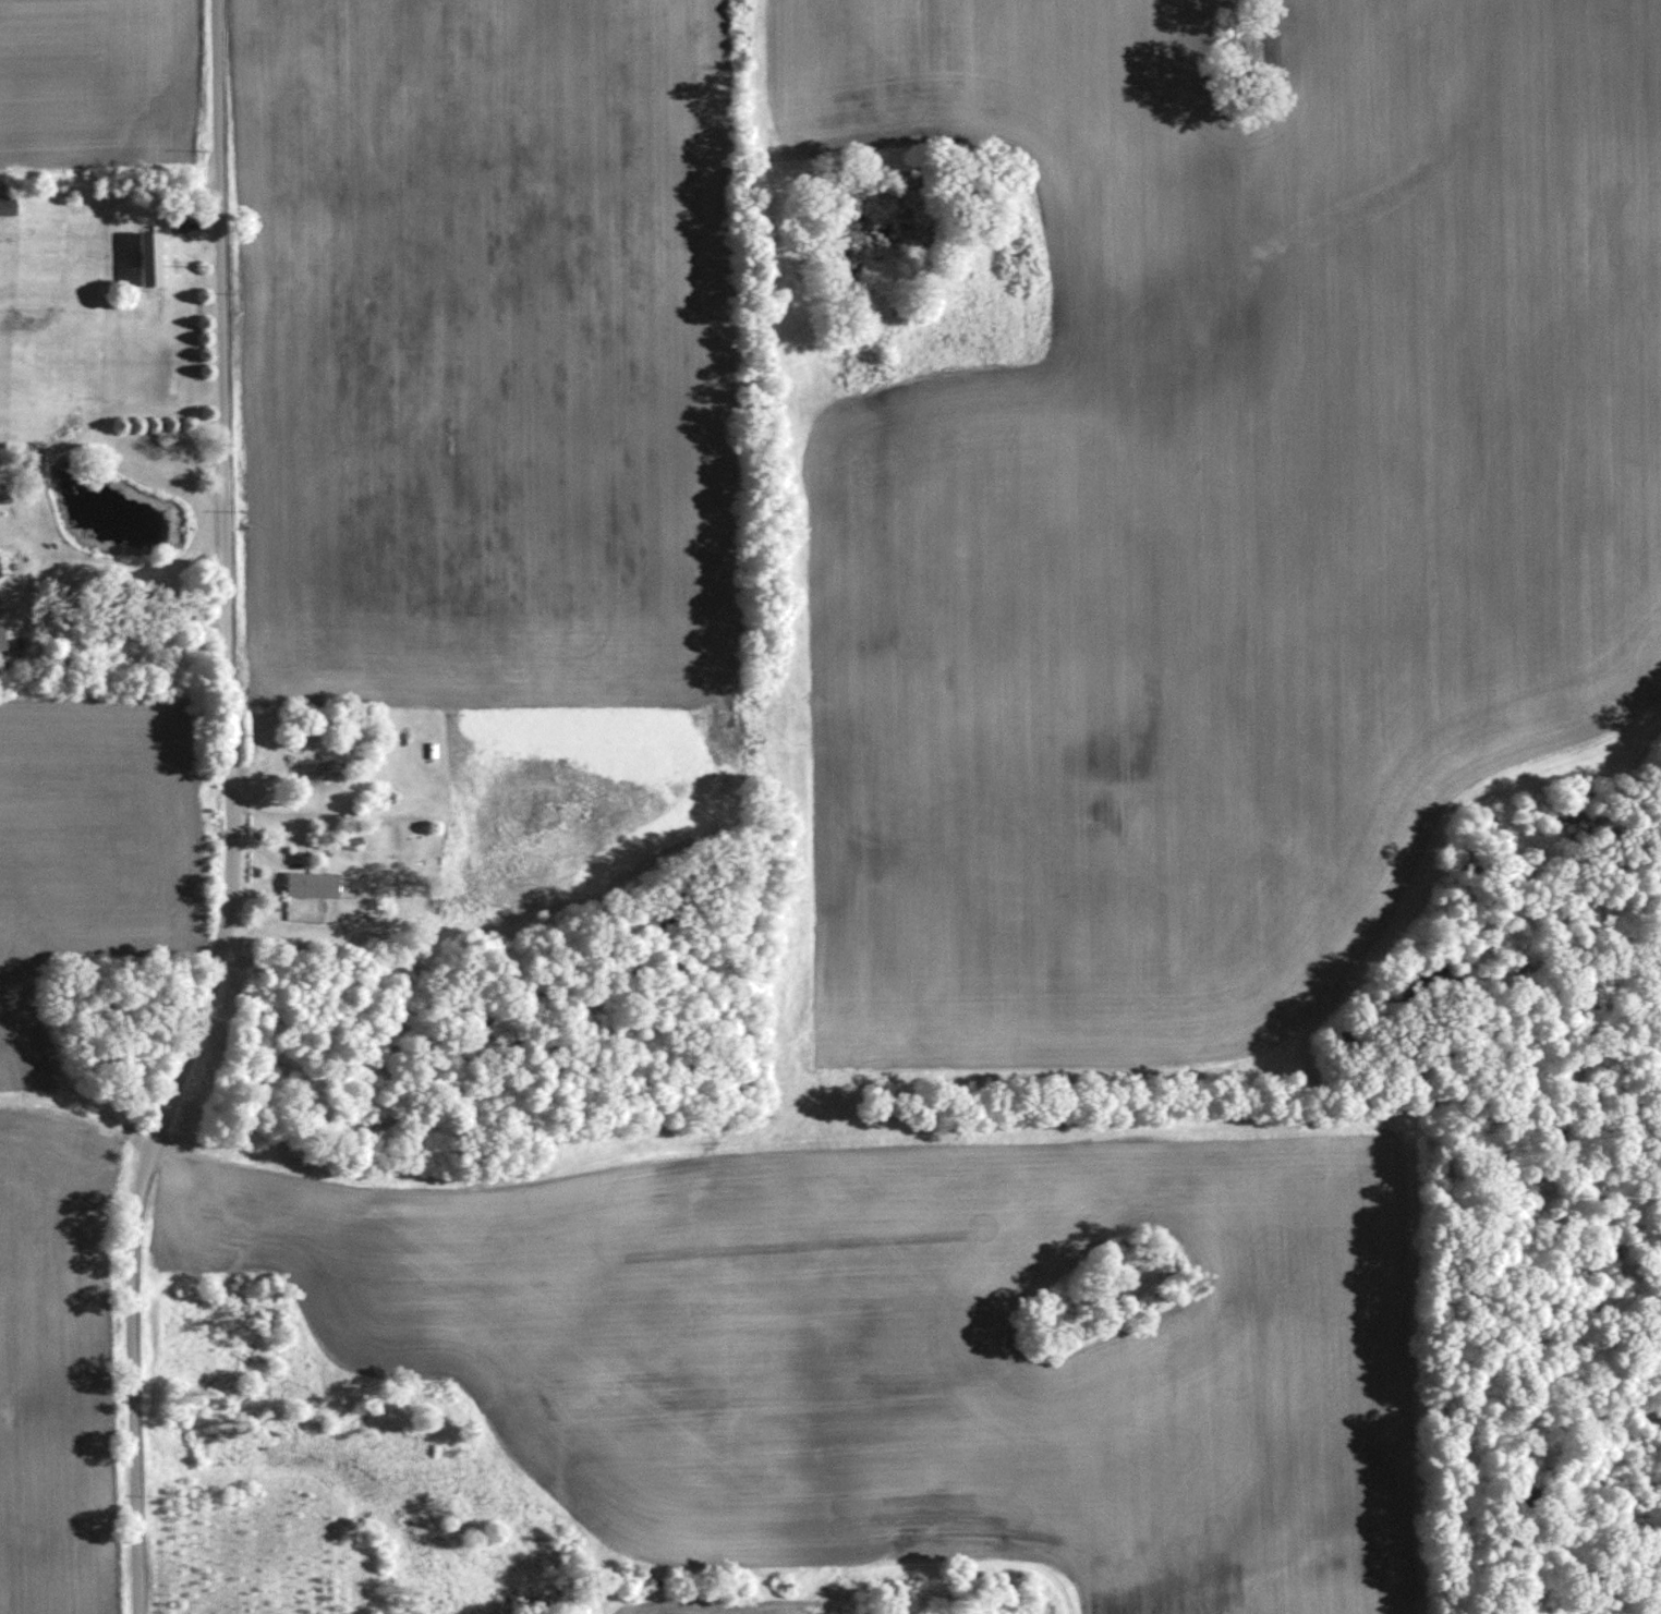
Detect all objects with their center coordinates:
building: (7, 203)
building: (144, 258)
building: (1, 638)
road: (230, 814)
building: (308, 882)

